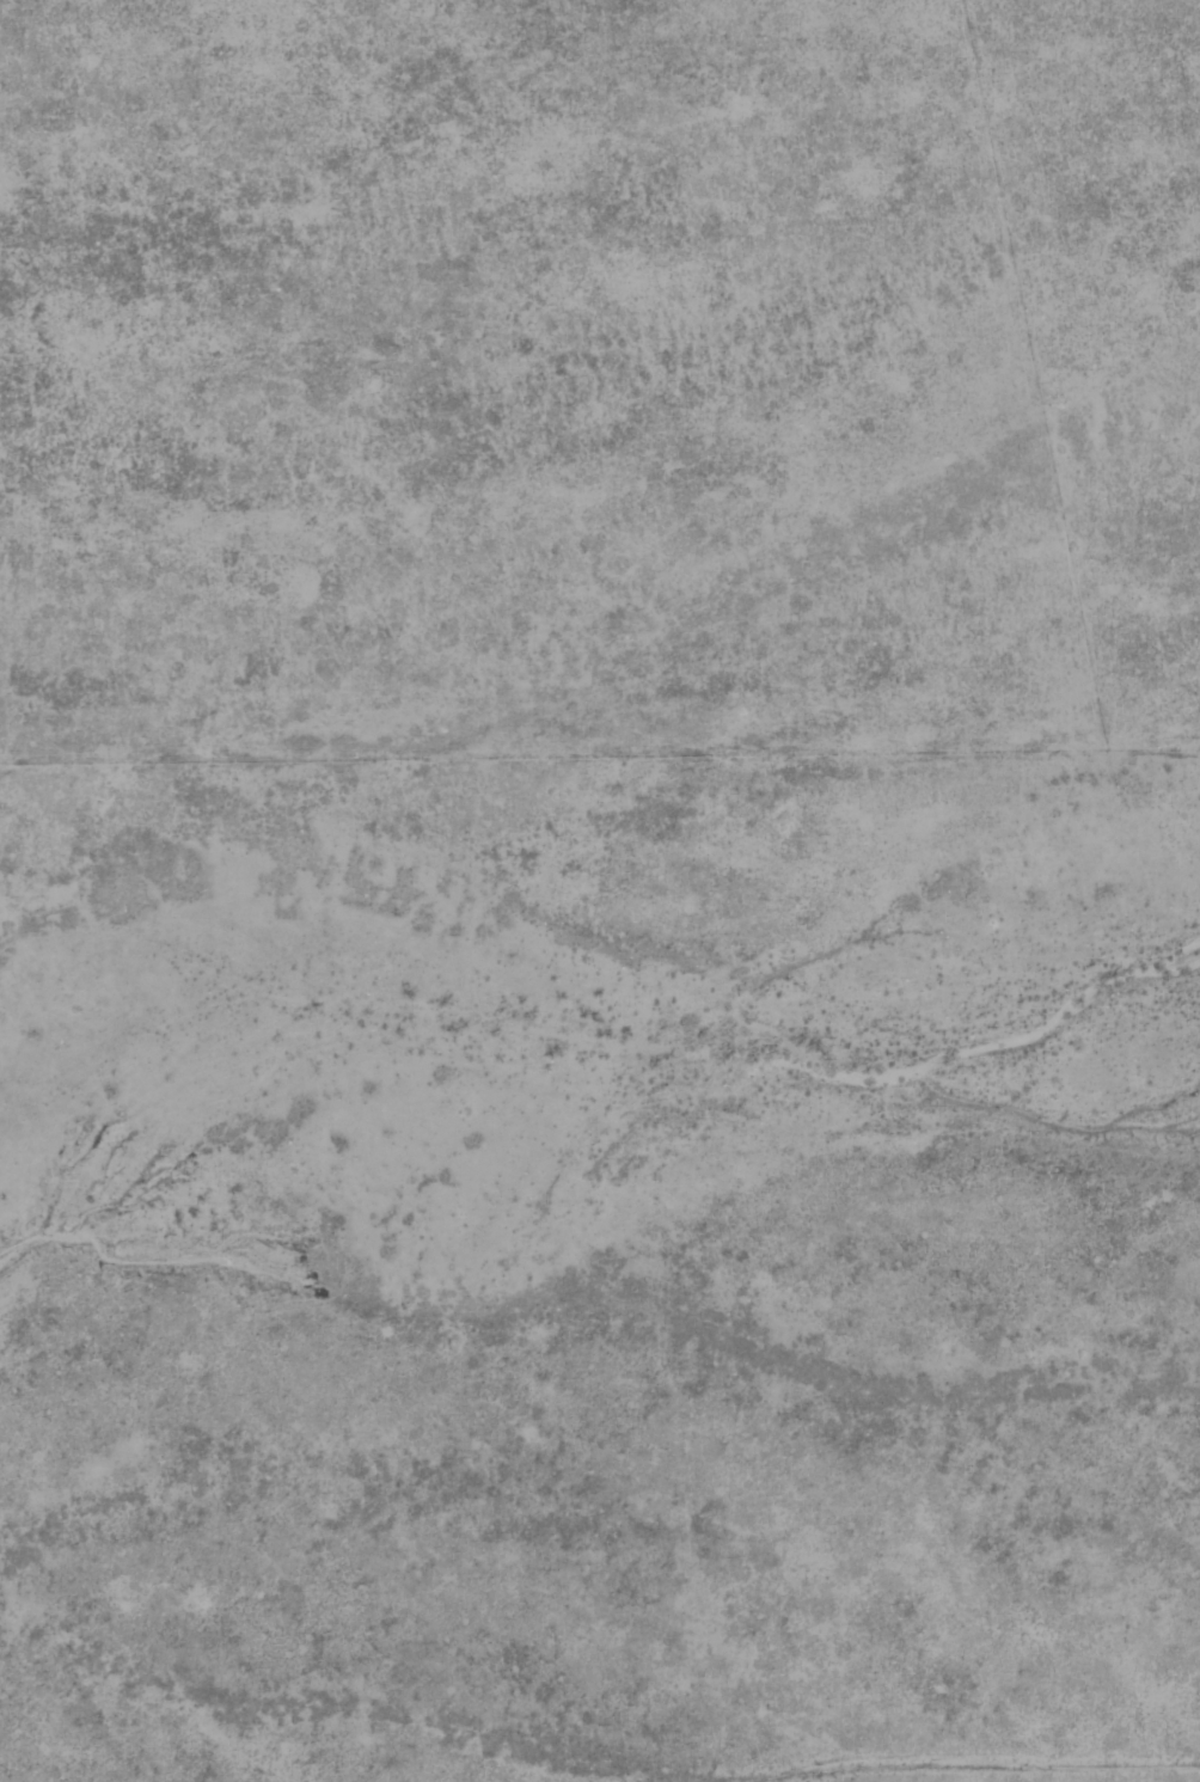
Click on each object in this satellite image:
road: (709, 1722)

